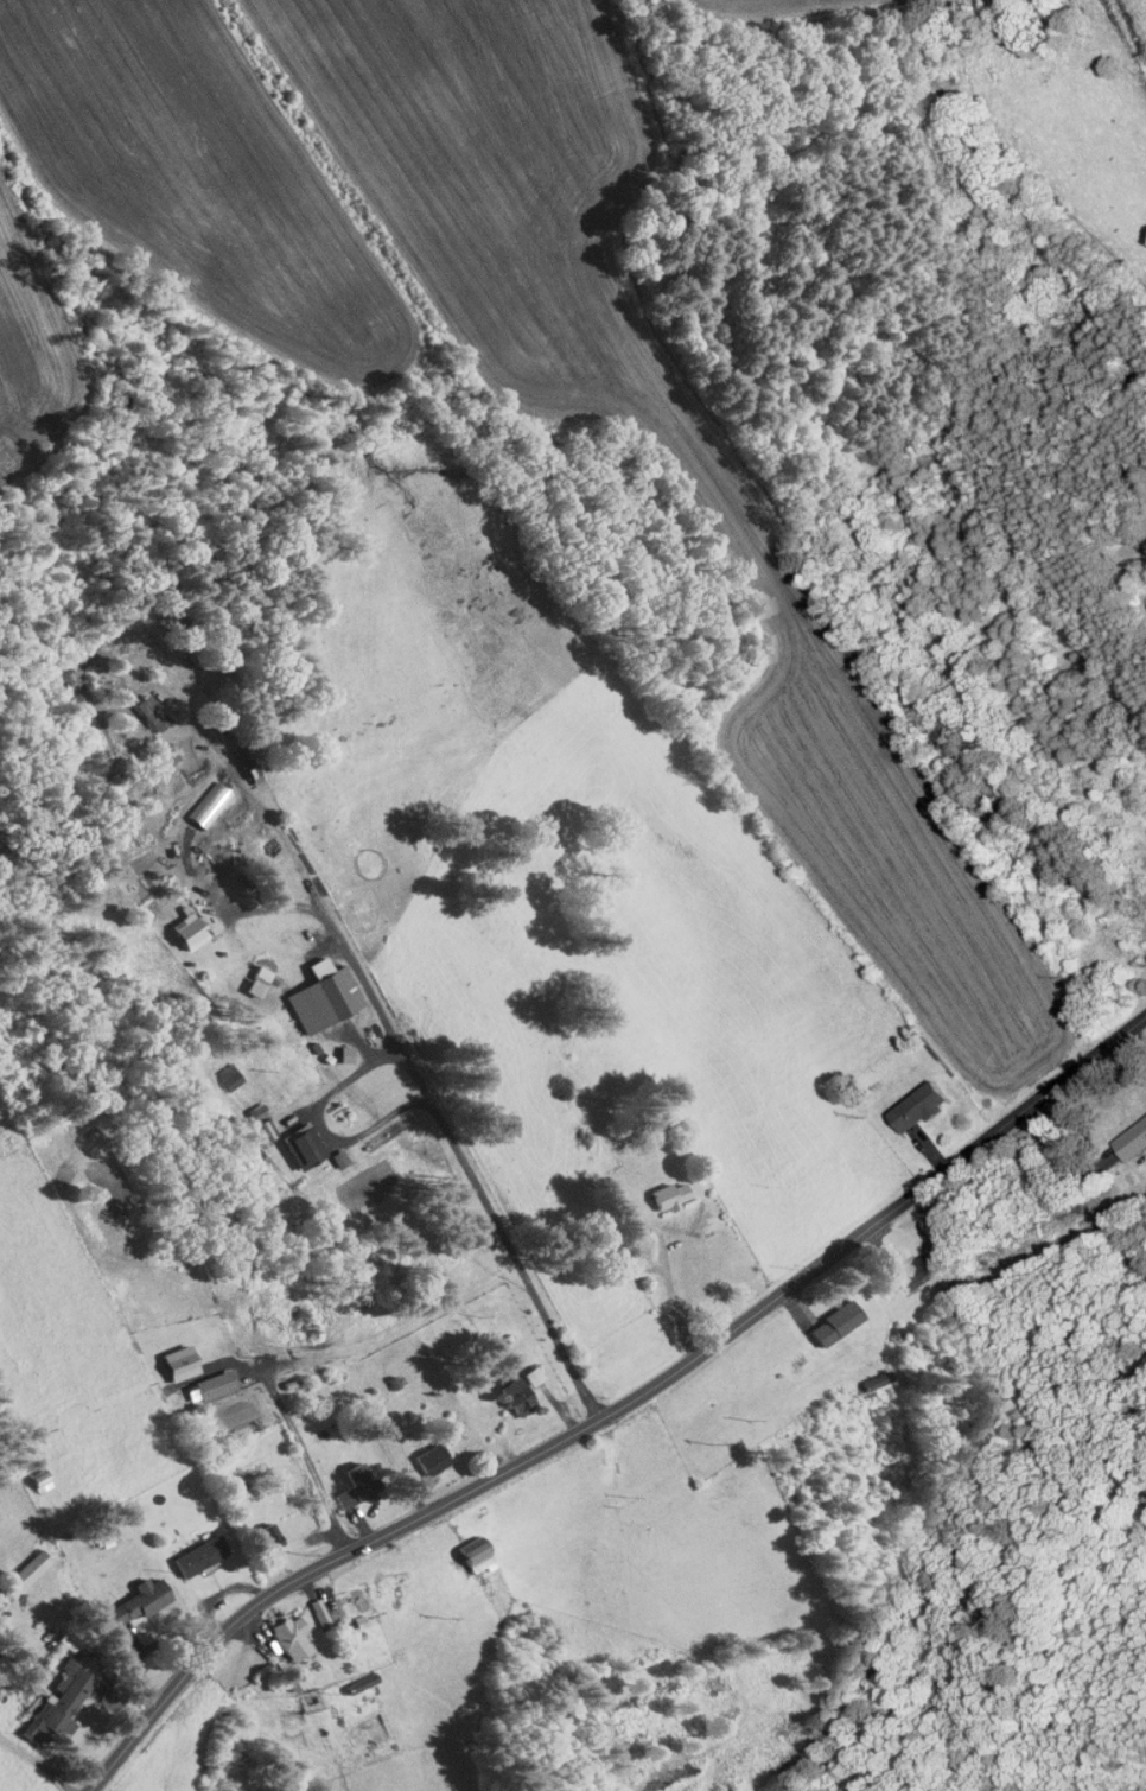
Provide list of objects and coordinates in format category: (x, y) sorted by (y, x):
road: (198, 967)
road: (386, 1020)
road: (1084, 1186)
road: (658, 1283)
road: (617, 1410)
road: (310, 1461)

